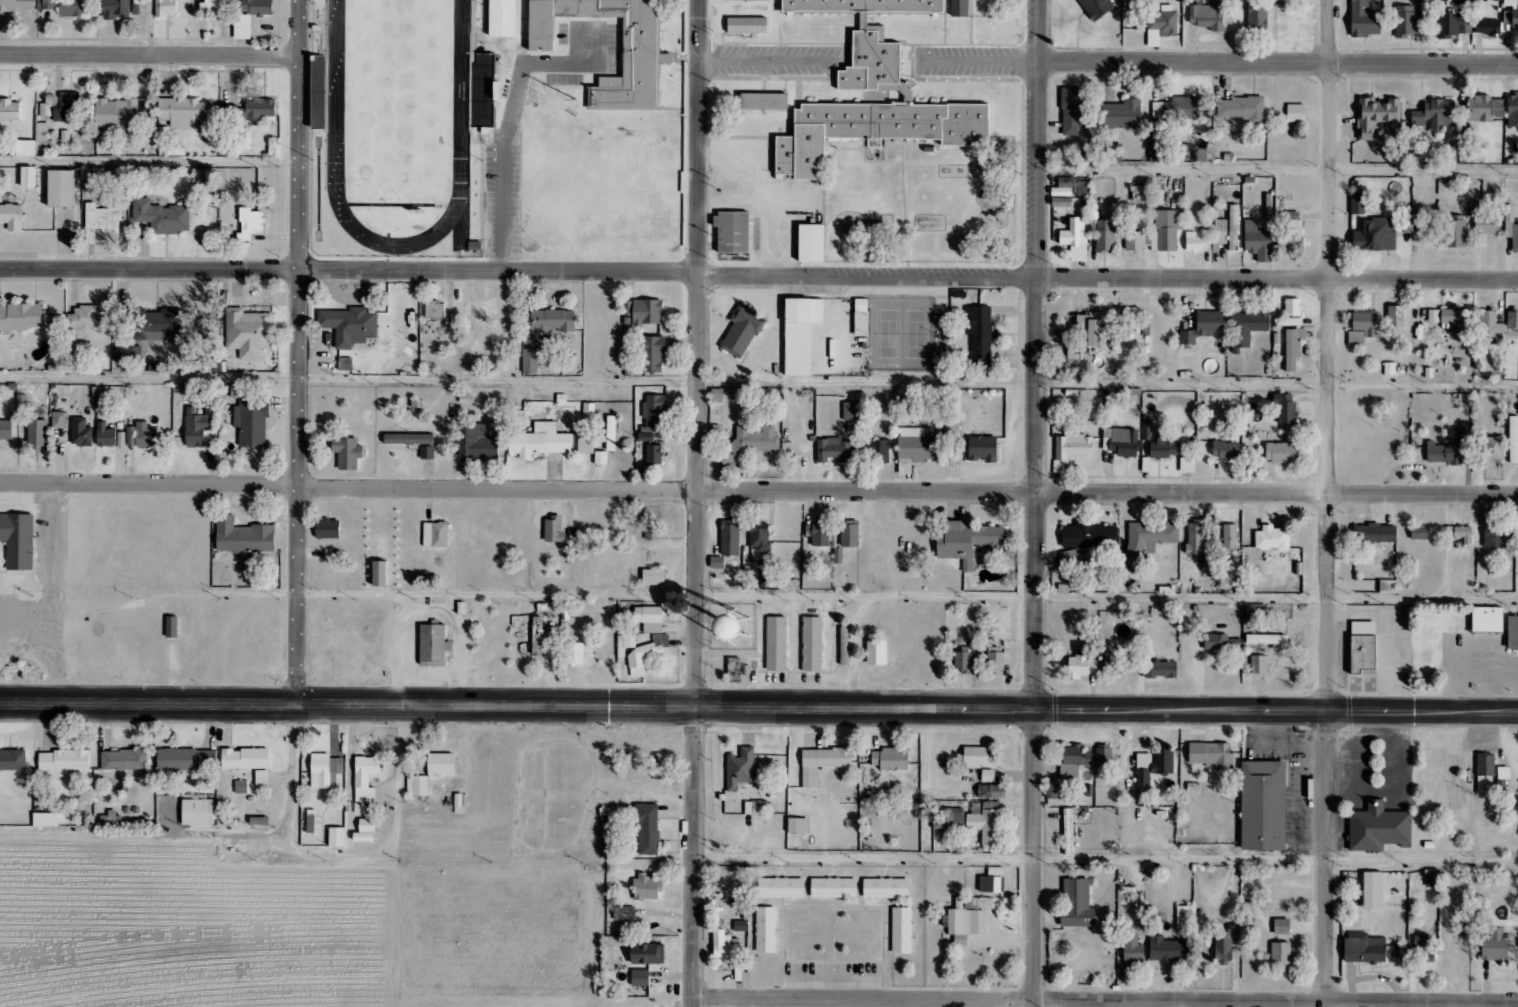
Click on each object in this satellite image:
building: (1472, 1)
building: (15, 4)
building: (212, 5)
building: (70, 7)
building: (165, 7)
building: (258, 7)
building: (1098, 8)
building: (116, 9)
building: (969, 9)
building: (1208, 16)
building: (1257, 18)
building: (1511, 18)
building: (512, 19)
building: (1366, 20)
building: (1405, 21)
building: (1452, 23)
building: (1162, 25)
building: (243, 27)
building: (1488, 27)
building: (757, 29)
building: (878, 40)
building: (613, 50)
road: (150, 55)
road: (1278, 62)
building: (492, 92)
building: (326, 93)
park: (406, 96)
track: (470, 102)
building: (773, 104)
building: (66, 107)
building: (1183, 108)
building: (1485, 108)
building: (10, 109)
building: (1243, 109)
building: (1513, 109)
building: (255, 110)
building: (1073, 110)
building: (185, 112)
building: (1297, 113)
building: (1122, 114)
building: (1376, 116)
building: (1434, 116)
stadium: (408, 130)
building: (882, 131)
building: (1157, 149)
road: (150, 162)
road: (1277, 168)
building: (29, 177)
building: (62, 188)
track: (342, 189)
building: (1084, 189)
building: (1142, 193)
building: (1358, 203)
building: (12, 217)
building: (161, 217)
building: (102, 218)
building: (1484, 220)
building: (250, 223)
building: (1511, 226)
building: (1233, 228)
track: (469, 230)
building: (1168, 230)
building: (1219, 231)
building: (741, 234)
building: (1456, 234)
building: (1105, 235)
building: (1375, 236)
building: (1076, 239)
building: (1135, 241)
building: (1257, 241)
building: (1194, 242)
building: (820, 245)
road: (758, 273)
building: (435, 309)
building: (644, 311)
building: (1291, 313)
building: (1396, 316)
building: (1434, 316)
building: (22, 317)
building: (863, 317)
building: (1457, 319)
building: (85, 320)
building: (554, 320)
building: (158, 325)
building: (350, 325)
building: (1094, 326)
building: (1129, 327)
building: (1205, 327)
building: (1247, 328)
building: (1364, 328)
building: (1492, 328)
building: (743, 331)
building: (248, 333)
building: (802, 334)
building: (980, 334)
park: (896, 339)
park: (924, 339)
building: (1293, 349)
road: (299, 353)
building: (653, 354)
building: (530, 361)
building: (346, 364)
road: (758, 385)
building: (717, 395)
building: (1285, 408)
building: (21, 410)
building: (852, 411)
building: (654, 413)
building: (58, 420)
building: (251, 423)
building: (199, 426)
building: (6, 430)
building: (1146, 430)
building: (36, 433)
building: (81, 433)
building: (611, 433)
building: (106, 435)
building: (142, 436)
building: (409, 439)
building: (540, 441)
building: (1124, 441)
building: (752, 442)
building: (479, 443)
building: (587, 444)
building: (918, 446)
building: (1514, 446)
building: (1072, 447)
building: (1165, 447)
building: (983, 448)
building: (833, 449)
building: (876, 449)
building: (1493, 449)
building: (1226, 450)
building: (348, 452)
building: (427, 452)
building: (1282, 452)
building: (654, 454)
road: (758, 491)
road: (697, 503)
road: (1036, 503)
road: (1328, 503)
building: (328, 529)
building: (555, 530)
building: (652, 530)
building: (1421, 532)
building: (1460, 533)
building: (819, 534)
building: (850, 534)
building: (1375, 534)
building: (436, 535)
building: (1090, 536)
building: (1151, 536)
building: (1230, 536)
building: (1496, 536)
building: (1195, 538)
building: (253, 539)
building: (731, 539)
building: (760, 539)
building: (24, 541)
building: (968, 541)
building: (1266, 544)
building: (838, 555)
building: (765, 573)
building: (382, 574)
building: (655, 577)
building: (1388, 587)
road: (907, 601)
building: (1256, 612)
building: (650, 619)
building: (1489, 620)
building: (172, 627)
building: (180, 629)
building: (1513, 633)
building: (539, 635)
building: (771, 639)
building: (1269, 640)
building: (1221, 642)
building: (813, 644)
building: (442, 646)
building: (1364, 646)
building: (640, 652)
building: (575, 653)
building: (877, 653)
building: (966, 656)
building: (994, 659)
building: (1259, 664)
building: (1083, 666)
building: (1114, 667)
building: (734, 669)
building: (1161, 669)
road: (759, 704)
building: (1104, 754)
building: (1211, 755)
building: (1078, 756)
building: (979, 757)
building: (892, 759)
building: (134, 762)
building: (18, 763)
building: (187, 763)
building: (823, 763)
building: (74, 765)
building: (256, 765)
building: (1486, 765)
building: (1154, 766)
building: (748, 771)
building: (332, 773)
building: (1504, 773)
building: (988, 776)
building: (439, 777)
building: (374, 783)
building: (1052, 789)
building: (250, 790)
building: (1272, 806)
building: (467, 807)
building: (765, 812)
building: (207, 814)
building: (949, 819)
building: (986, 822)
building: (319, 823)
building: (55, 824)
building: (311, 824)
building: (800, 826)
building: (656, 830)
building: (366, 831)
building: (1388, 831)
building: (1069, 832)
building: (374, 835)
building: (345, 840)
road: (211, 841)
road: (405, 842)
road: (1107, 862)
building: (1433, 878)
building: (993, 881)
building: (782, 888)
building: (834, 888)
building: (887, 888)
building: (1374, 891)
building: (656, 892)
building: (1078, 904)
building: (625, 914)
building: (1184, 917)
building: (633, 918)
building: (968, 918)
building: (1283, 927)
building: (765, 930)
building: (902, 931)
building: (1223, 946)
building: (1495, 946)
building: (726, 947)
building: (1423, 948)
building: (1366, 949)
building: (1169, 950)
building: (1133, 951)
building: (1281, 954)
building: (653, 957)
building: (641, 978)
building: (649, 981)
road: (1106, 1001)

